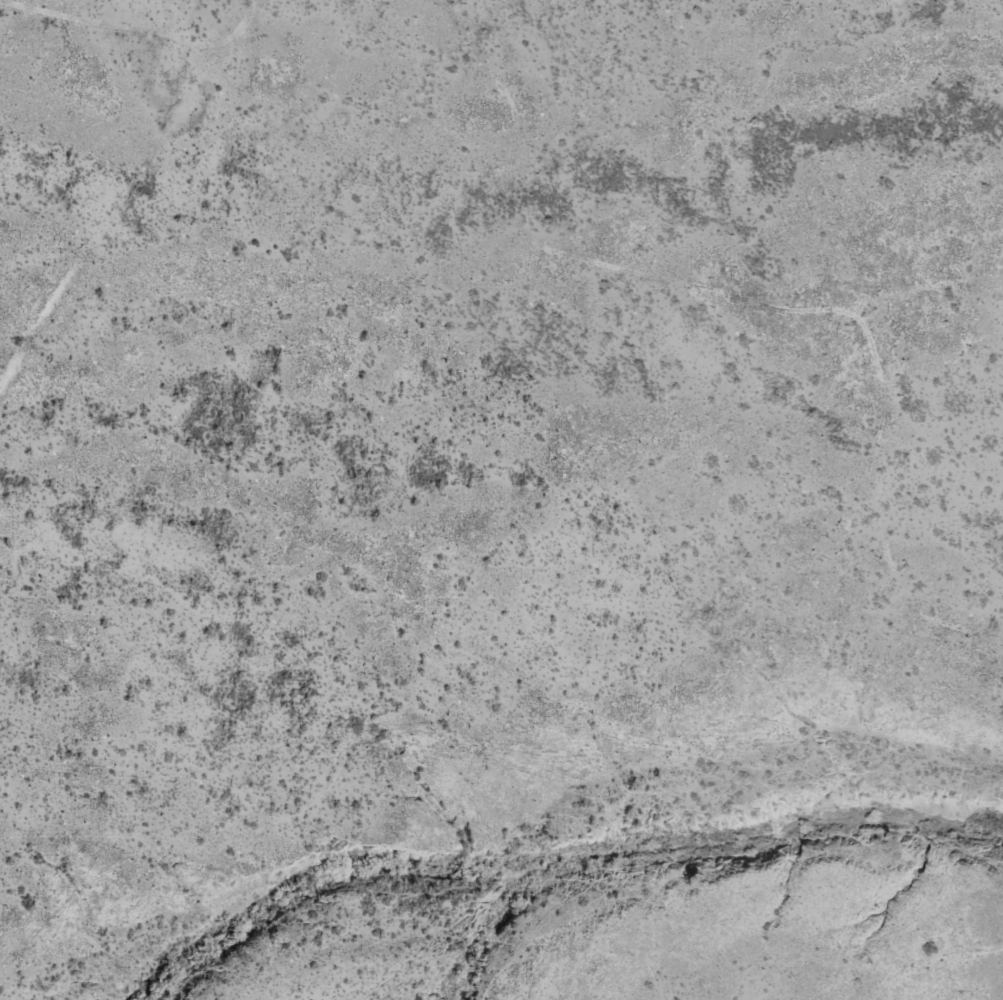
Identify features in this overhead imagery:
road: (120, 213)

